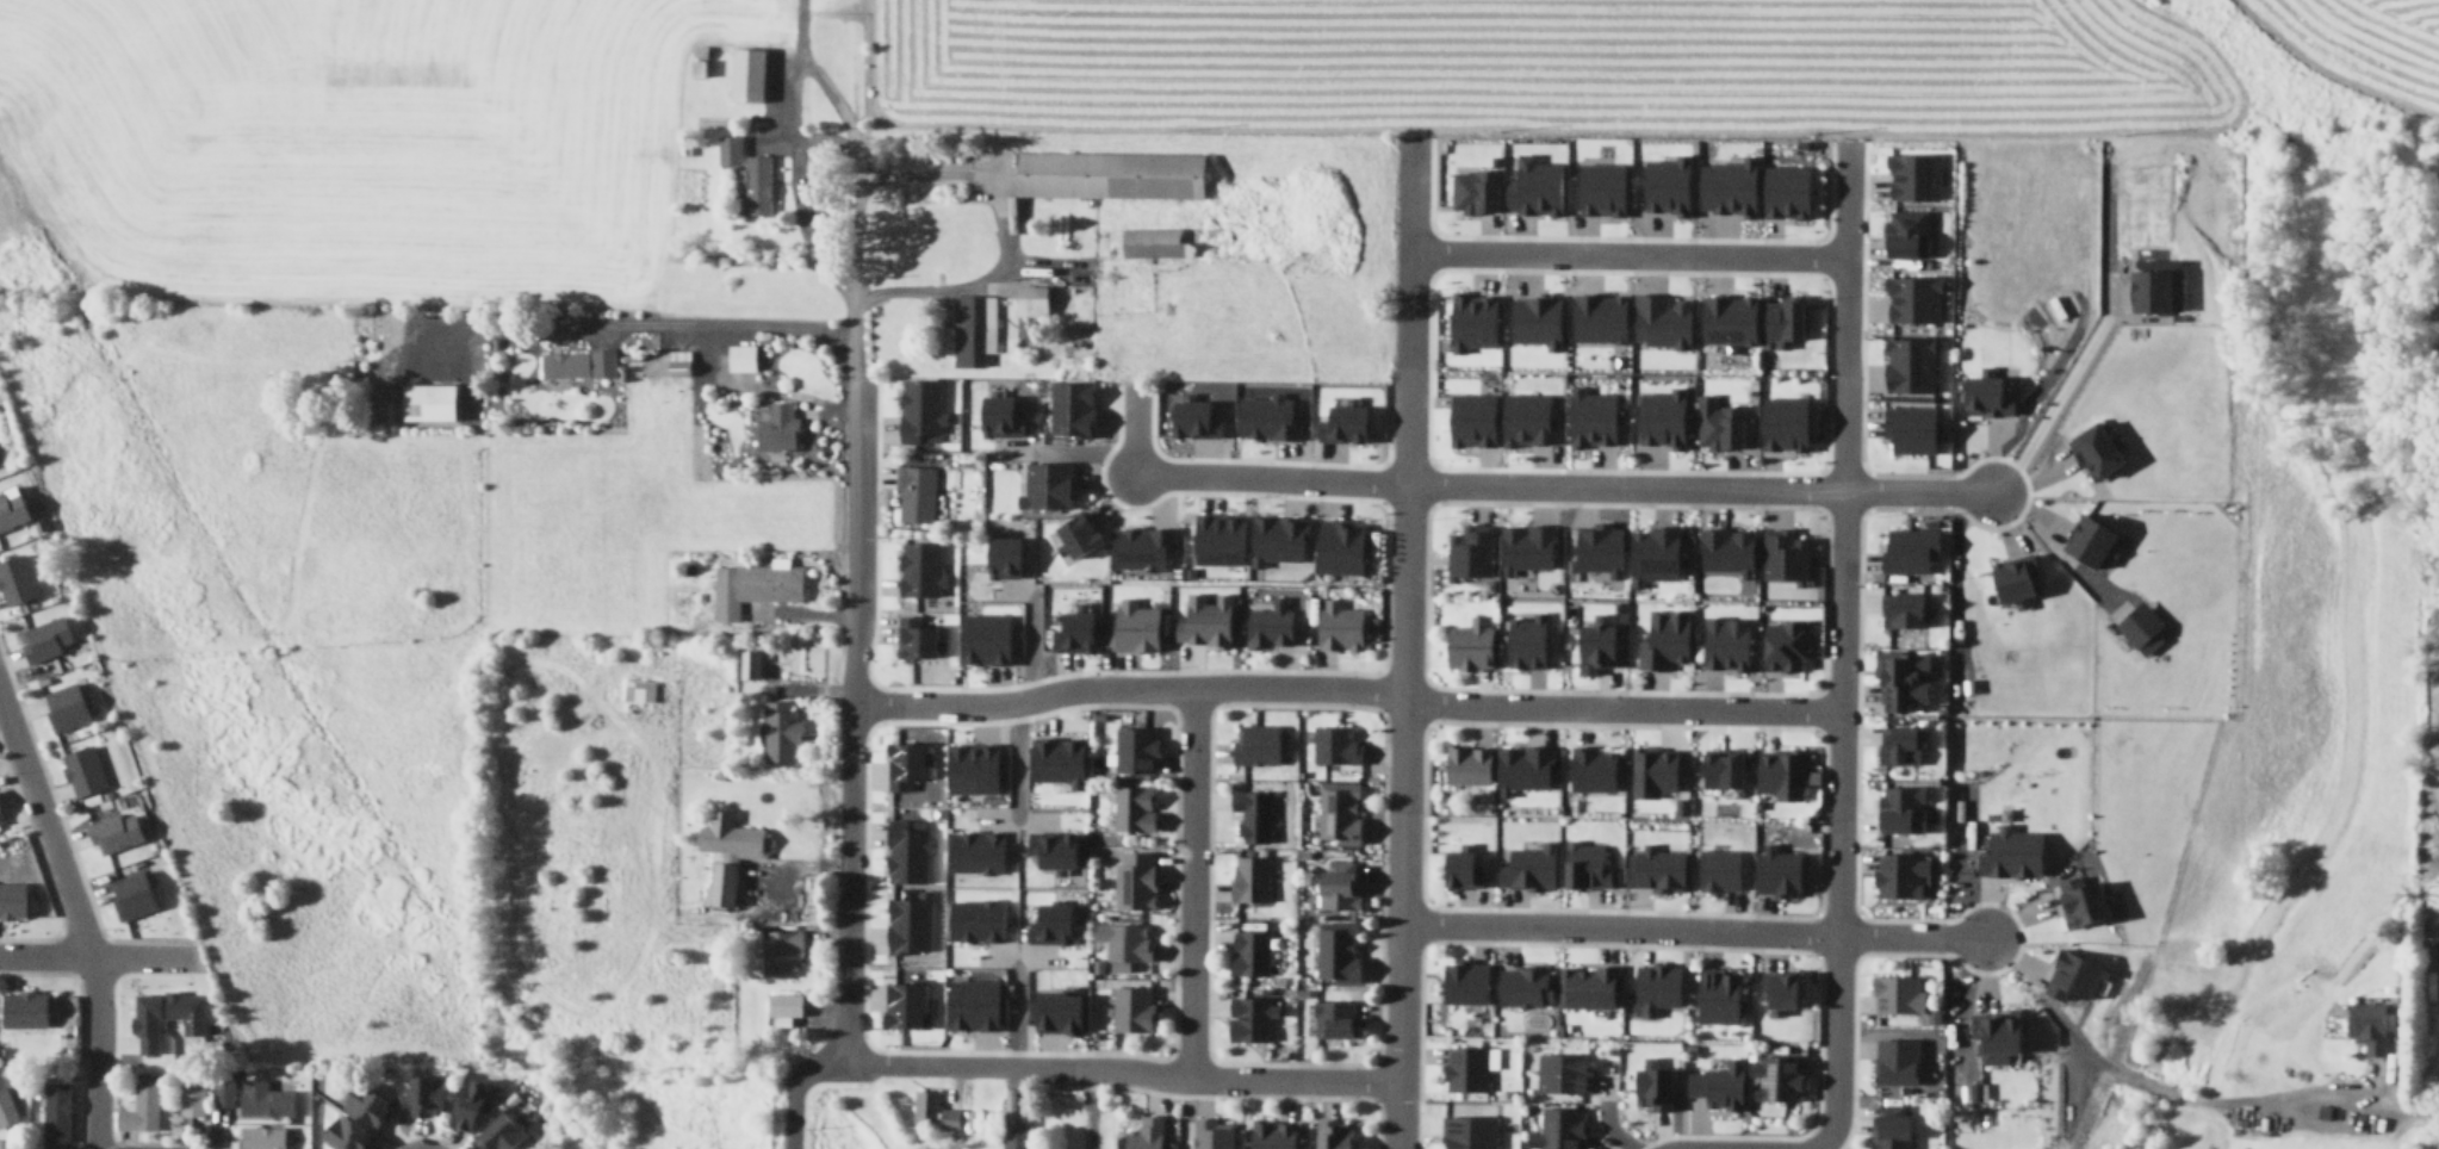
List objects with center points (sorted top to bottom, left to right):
building: (699, 61)
road: (793, 67)
crop: (1606, 67)
building: (750, 74)
road: (836, 95)
crop: (372, 126)
building: (730, 149)
building: (1112, 174)
building: (1913, 174)
building: (1665, 182)
building: (758, 185)
building: (1532, 185)
building: (1725, 185)
building: (1600, 187)
building: (1782, 188)
building: (1473, 190)
road: (1841, 198)
road: (999, 228)
building: (1904, 231)
building: (1166, 241)
road: (1624, 250)
building: (2153, 282)
building: (1911, 296)
building: (1034, 299)
building: (1596, 316)
building: (1726, 317)
building: (1469, 318)
building: (1533, 318)
building: (1658, 318)
building: (1780, 319)
road: (633, 325)
building: (972, 330)
building: (743, 356)
building: (581, 362)
building: (1909, 362)
building: (676, 364)
road: (1405, 369)
building: (1982, 393)
road: (2048, 396)
building: (433, 402)
building: (1069, 406)
building: (917, 408)
building: (997, 415)
building: (1589, 415)
building: (1190, 416)
building: (1264, 416)
building: (1659, 416)
building: (1469, 417)
building: (1526, 418)
building: (1781, 421)
building: (1340, 422)
building: (1717, 422)
building: (1907, 426)
building: (778, 427)
building: (2092, 448)
road: (1553, 482)
building: (1045, 483)
road: (850, 484)
building: (916, 492)
building: (12, 509)
building: (1075, 530)
building: (1216, 538)
building: (1274, 538)
road: (1838, 539)
road: (2049, 540)
building: (2085, 540)
building: (1138, 545)
building: (1336, 545)
building: (1523, 545)
building: (1596, 546)
building: (1906, 547)
building: (1725, 548)
building: (1467, 549)
building: (1650, 552)
building: (1782, 554)
building: (1000, 555)
building: (919, 567)
building: (15, 580)
building: (753, 585)
building: (1903, 608)
building: (1205, 625)
building: (1135, 626)
building: (1341, 626)
building: (2139, 626)
building: (1271, 627)
building: (1070, 631)
building: (914, 636)
building: (982, 636)
building: (1661, 638)
building: (46, 639)
building: (1523, 639)
building: (1723, 641)
building: (1466, 642)
building: (1780, 644)
building: (1591, 645)
building: (751, 663)
building: (1900, 678)
road: (1248, 685)
building: (639, 690)
road: (1744, 701)
building: (67, 707)
building: (781, 731)
building: (1256, 743)
building: (1897, 743)
building: (1336, 744)
building: (1136, 750)
building: (1055, 758)
building: (900, 763)
building: (1470, 764)
building: (968, 766)
building: (1520, 766)
building: (1719, 766)
building: (1590, 768)
building: (1650, 769)
building: (83, 771)
building: (1779, 771)
building: (1898, 807)
building: (1136, 808)
building: (1249, 813)
building: (1340, 813)
building: (1998, 813)
building: (1, 819)
building: (116, 832)
building: (1049, 847)
building: (905, 850)
building: (974, 850)
building: (2009, 851)
building: (734, 859)
building: (1458, 865)
building: (1526, 865)
building: (1653, 868)
building: (1715, 868)
building: (1774, 870)
road: (1402, 871)
building: (1898, 874)
building: (1252, 878)
building: (1136, 881)
road: (1190, 882)
building: (1341, 884)
building: (134, 895)
building: (2086, 900)
building: (13, 901)
building: (2429, 908)
building: (975, 919)
road: (76, 920)
building: (908, 921)
building: (1048, 923)
road: (1693, 931)
building: (1130, 943)
building: (1339, 951)
building: (780, 952)
building: (1252, 954)
road: (98, 956)
building: (2073, 975)
building: (1463, 979)
building: (1522, 983)
building: (1655, 985)
road: (1835, 985)
building: (1589, 986)
building: (1777, 989)
building: (1714, 993)
building: (1894, 993)
building: (968, 1002)
building: (902, 1004)
building: (787, 1006)
building: (26, 1010)
building: (1135, 1010)
building: (1053, 1011)
building: (168, 1013)
building: (1336, 1018)
building: (1250, 1020)
building: (2365, 1024)
building: (1993, 1033)
building: (1898, 1062)
road: (950, 1063)
building: (1466, 1064)
building: (1560, 1069)
building: (1775, 1075)
road: (1231, 1079)
building: (1650, 1081)
building: (1715, 1082)
building: (1972, 1089)
building: (224, 1092)
building: (427, 1095)
building: (266, 1099)
road: (798, 1099)
building: (191, 1100)
road: (2350, 1100)
building: (362, 1104)
building: (473, 1106)
building: (6, 1108)
building: (142, 1108)
building: (935, 1110)
building: (56, 1114)
building: (1556, 1126)
building: (1888, 1126)
building: (1466, 1130)
building: (1017, 1131)
building: (343, 1132)
building: (504, 1134)
building: (1147, 1134)
building: (1214, 1134)
building: (1274, 1135)
building: (1336, 1135)
building: (263, 1138)
building: (1, 1144)
road: (1817, 1145)

